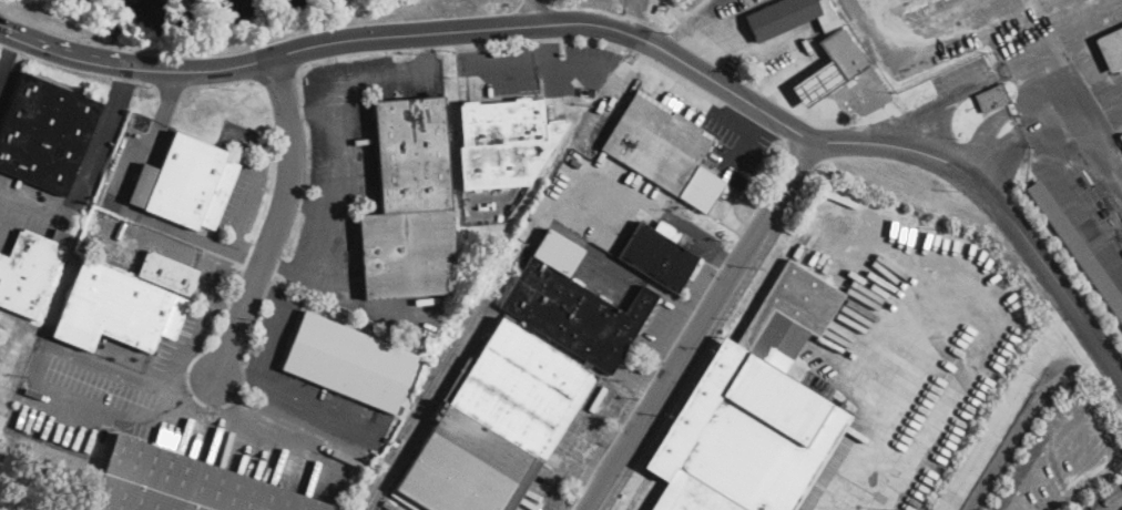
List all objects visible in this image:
parking lot: (636, 2)
road: (528, 12)
parking lot: (706, 13)
road: (1083, 13)
road: (704, 14)
road: (630, 17)
park: (213, 18)
parking lot: (1018, 29)
road: (622, 30)
road: (1017, 35)
road: (738, 39)
road: (926, 42)
road: (550, 44)
road: (672, 44)
building: (1111, 49)
building: (841, 52)
road: (8, 53)
road: (696, 59)
road: (1093, 62)
road: (785, 64)
road: (517, 67)
parking lot: (548, 68)
parking lot: (792, 69)
road: (827, 75)
parking lot: (6, 83)
road: (1064, 91)
road: (754, 92)
road: (799, 92)
road: (1115, 95)
building: (991, 98)
road: (945, 99)
road: (876, 109)
road: (310, 111)
road: (822, 114)
road: (1096, 126)
road: (987, 127)
building: (45, 133)
road: (335, 140)
building: (504, 142)
building: (655, 142)
parking lot: (733, 142)
road: (1007, 149)
parking lot: (345, 155)
road: (89, 171)
road: (256, 173)
road: (727, 177)
building: (186, 184)
road: (1073, 186)
building: (700, 187)
road: (623, 191)
parking lot: (596, 201)
building: (409, 203)
road: (310, 204)
road: (122, 206)
road: (278, 221)
road: (6, 232)
building: (1077, 246)
building: (660, 253)
building: (30, 271)
building: (167, 273)
building: (116, 308)
road: (271, 323)
road: (700, 323)
road: (16, 345)
road: (37, 360)
building: (349, 361)
building: (520, 387)
parking lot: (103, 392)
road: (287, 398)
road: (1010, 406)
railway: (417, 407)
railway: (429, 409)
building: (754, 411)
road: (1084, 411)
road: (1022, 417)
parking lot: (1061, 458)
building: (183, 483)
railway: (639, 491)
railway: (651, 494)
parking lot: (1106, 500)
road: (1121, 509)

